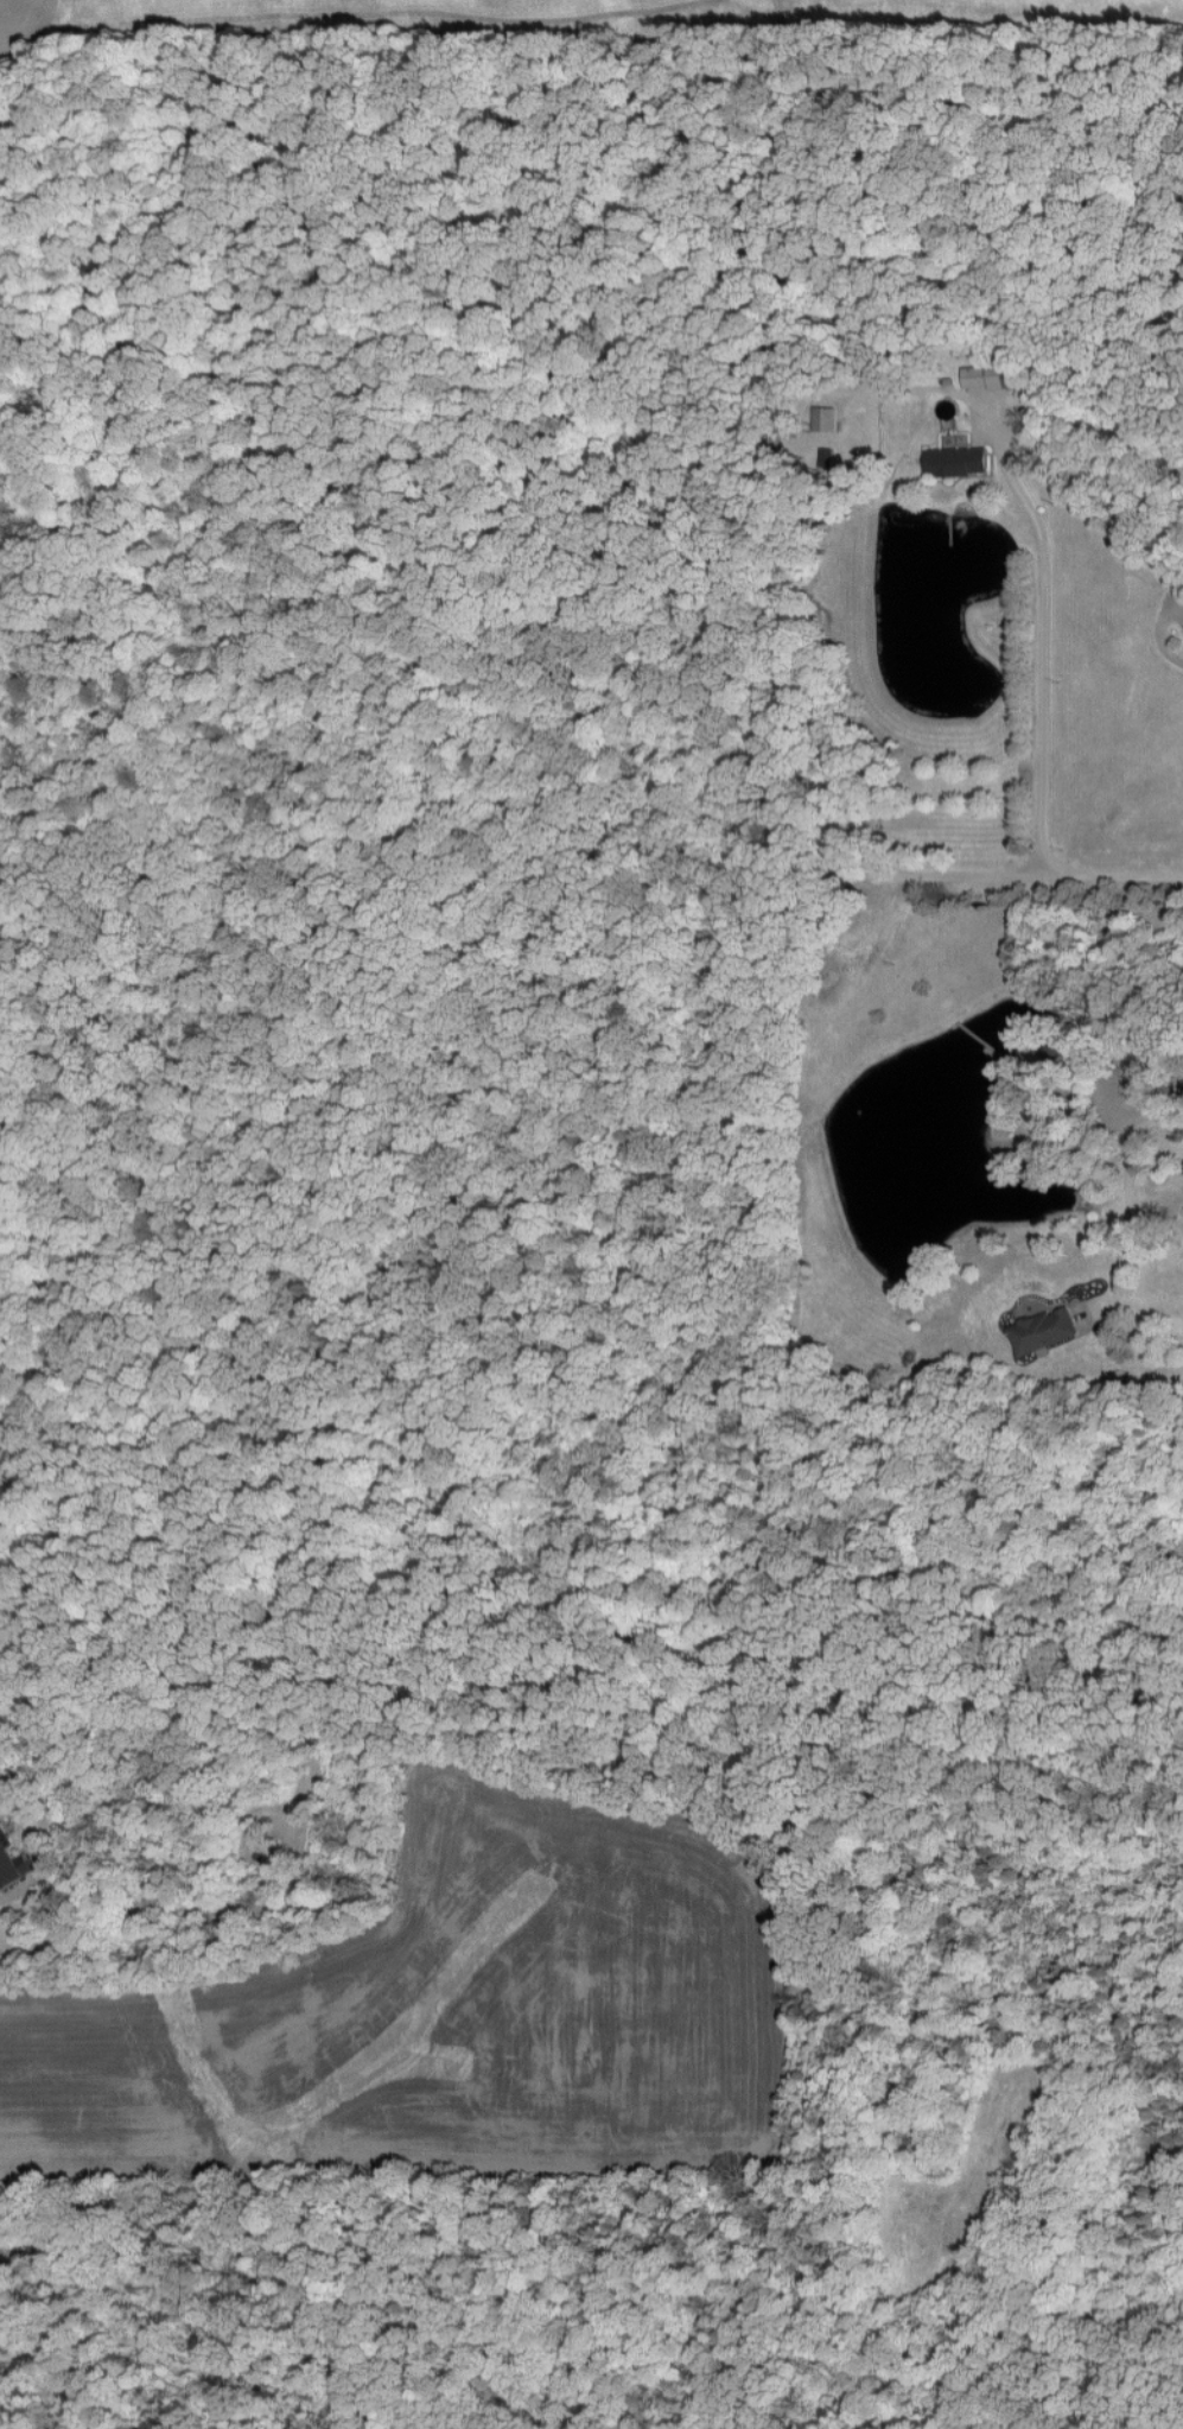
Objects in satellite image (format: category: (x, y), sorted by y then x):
building: (982, 375)
building: (955, 461)
road: (1157, 638)
road: (1038, 645)
road: (1122, 874)
road: (1122, 1194)
building: (1041, 1330)
building: (12, 1869)

